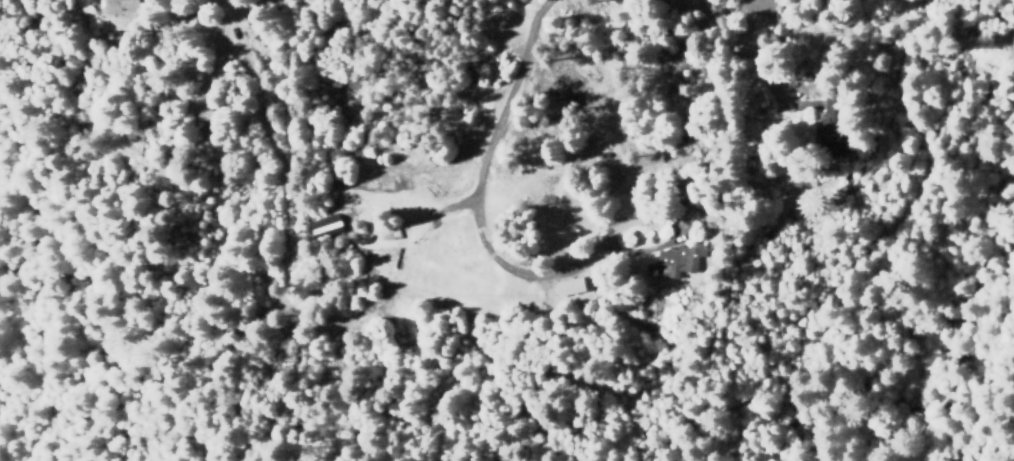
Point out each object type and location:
building: (118, 6)
road: (893, 80)
building: (825, 135)
road: (141, 184)
road: (417, 244)
building: (676, 260)
building: (566, 286)

